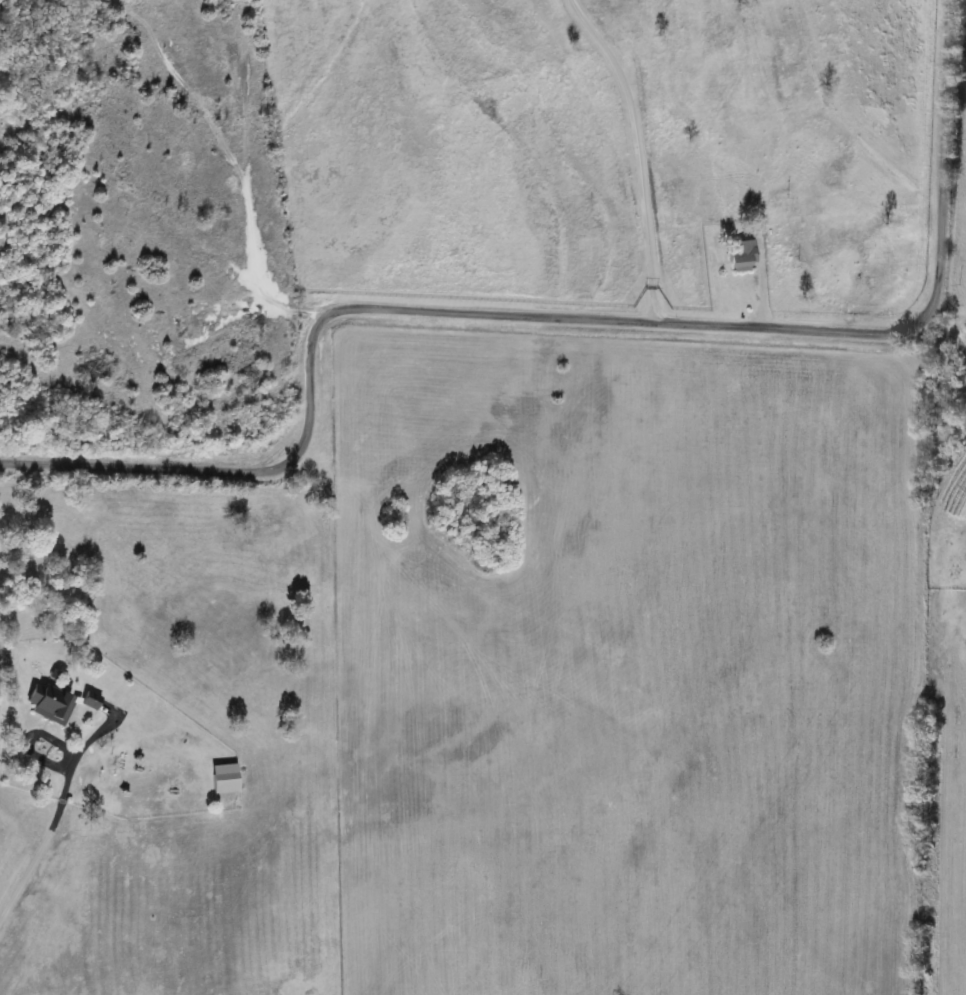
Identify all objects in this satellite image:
road: (638, 153)
building: (743, 256)
road: (564, 318)
road: (945, 336)
building: (90, 701)
building: (49, 704)
building: (224, 779)
road: (53, 822)

